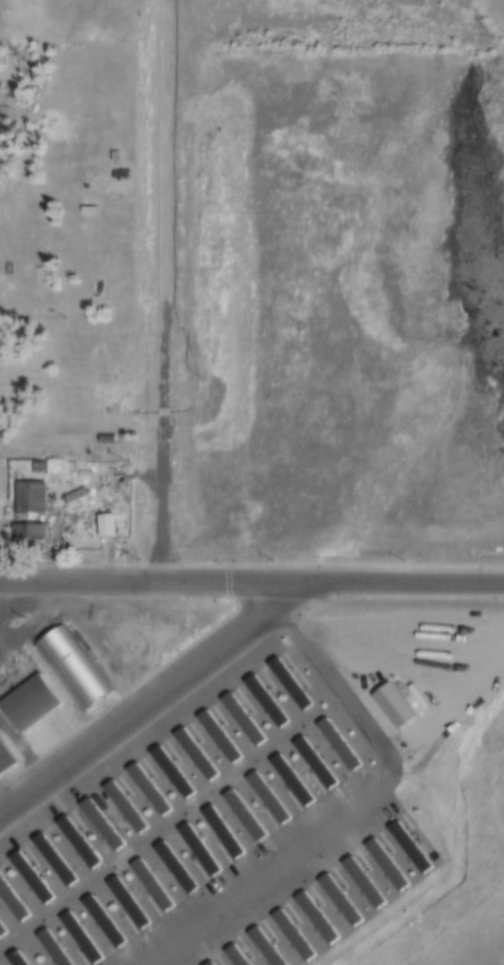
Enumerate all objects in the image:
building: (113, 155)
building: (118, 172)
building: (85, 207)
building: (116, 347)
building: (26, 508)
building: (103, 525)
road: (251, 582)
building: (71, 665)
building: (285, 682)
building: (261, 700)
road: (153, 701)
building: (28, 703)
building: (238, 718)
building: (214, 735)
building: (334, 743)
road: (26, 748)
building: (191, 753)
building: (4, 761)
building: (309, 761)
building: (167, 771)
building: (286, 779)
building: (145, 788)
building: (262, 797)
building: (121, 805)
building: (239, 815)
building: (97, 824)
building: (218, 832)
building: (129, 838)
building: (74, 842)
building: (406, 846)
building: (194, 849)
building: (50, 860)
building: (383, 863)
building: (171, 867)
building: (27, 878)
building: (358, 882)
building: (147, 886)
building: (336, 898)
building: (123, 903)
building: (10, 905)
building: (312, 917)
building: (9, 921)
building: (99, 921)
building: (1, 930)
building: (289, 934)
building: (77, 938)
building: (261, 946)
building: (48, 948)
building: (232, 955)
building: (11, 959)
building: (206, 963)

